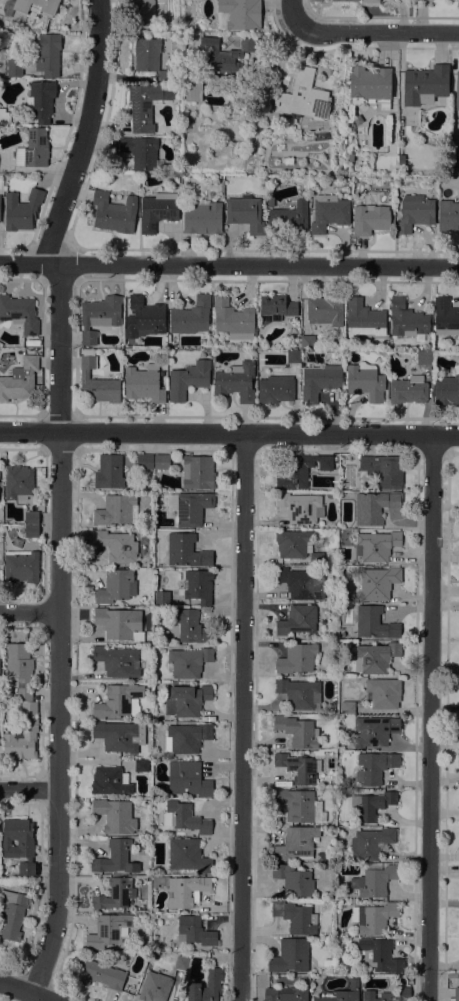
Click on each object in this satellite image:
building: (335, 0)
building: (371, 1)
building: (37, 6)
building: (141, 10)
road: (295, 13)
building: (238, 14)
road: (377, 34)
building: (47, 54)
building: (146, 54)
building: (226, 55)
building: (14, 67)
building: (163, 76)
building: (369, 85)
building: (426, 86)
building: (193, 89)
building: (457, 90)
building: (303, 97)
building: (40, 101)
building: (146, 105)
building: (228, 105)
building: (3, 116)
building: (187, 120)
building: (357, 120)
road: (89, 134)
building: (34, 149)
building: (141, 152)
building: (377, 159)
building: (401, 159)
building: (270, 201)
building: (21, 210)
building: (157, 210)
building: (114, 212)
building: (245, 213)
building: (329, 213)
building: (414, 213)
building: (448, 216)
building: (202, 217)
building: (289, 217)
building: (369, 219)
road: (229, 264)
building: (275, 308)
building: (326, 310)
building: (19, 313)
building: (191, 316)
building: (99, 317)
building: (445, 317)
building: (144, 318)
building: (233, 319)
building: (363, 319)
building: (406, 319)
building: (308, 342)
building: (293, 357)
building: (423, 358)
building: (188, 379)
building: (19, 380)
building: (319, 381)
building: (364, 381)
building: (96, 382)
building: (235, 382)
building: (143, 384)
building: (275, 389)
building: (408, 390)
building: (446, 390)
road: (229, 432)
building: (145, 461)
building: (161, 461)
building: (297, 469)
building: (383, 470)
building: (109, 472)
building: (198, 472)
building: (18, 482)
building: (300, 507)
building: (374, 507)
building: (192, 508)
building: (114, 510)
building: (30, 517)
building: (31, 531)
building: (296, 545)
building: (376, 545)
building: (116, 546)
building: (186, 551)
building: (20, 566)
building: (301, 583)
building: (378, 583)
building: (196, 585)
building: (116, 586)
building: (162, 598)
road: (29, 613)
building: (297, 620)
building: (119, 623)
building: (374, 623)
building: (190, 626)
road: (59, 629)
building: (297, 658)
building: (375, 658)
building: (117, 661)
building: (188, 662)
building: (19, 668)
building: (383, 692)
building: (299, 693)
building: (186, 700)
building: (116, 701)
building: (133, 706)
building: (347, 707)
road: (242, 717)
road: (430, 717)
building: (297, 731)
building: (374, 731)
building: (22, 736)
building: (119, 736)
building: (186, 738)
building: (141, 766)
building: (374, 767)
building: (297, 768)
building: (187, 779)
building: (109, 781)
road: (30, 789)
building: (296, 804)
building: (370, 805)
building: (115, 815)
building: (186, 817)
building: (19, 843)
building: (370, 843)
building: (296, 844)
building: (187, 855)
building: (115, 858)
building: (293, 880)
building: (374, 880)
building: (182, 890)
building: (115, 894)
building: (13, 914)
building: (295, 917)
building: (373, 918)
building: (109, 931)
building: (194, 931)
building: (132, 948)
building: (378, 955)
building: (290, 956)
building: (180, 962)
building: (98, 974)
building: (154, 987)
building: (206, 987)
road: (26, 991)
building: (343, 993)
building: (285, 994)
building: (388, 995)
building: (455, 995)

